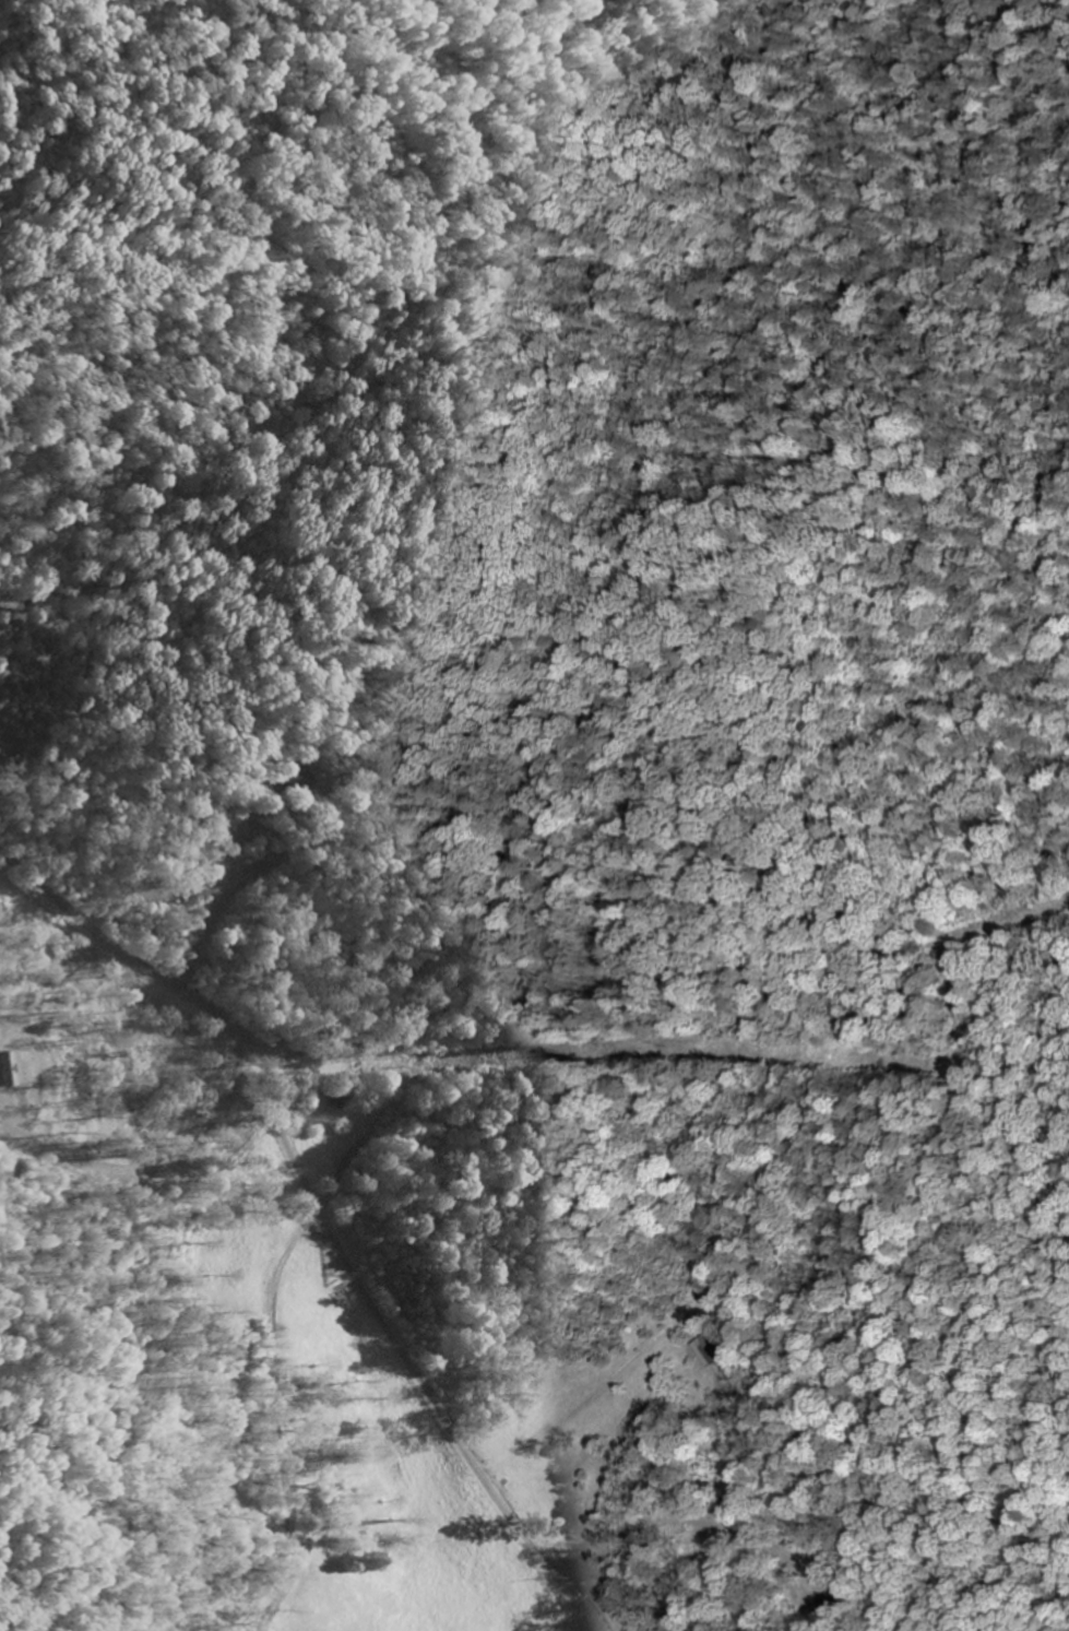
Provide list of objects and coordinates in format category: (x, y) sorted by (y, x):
building: (12, 1067)
road: (324, 1218)
building: (705, 1351)

